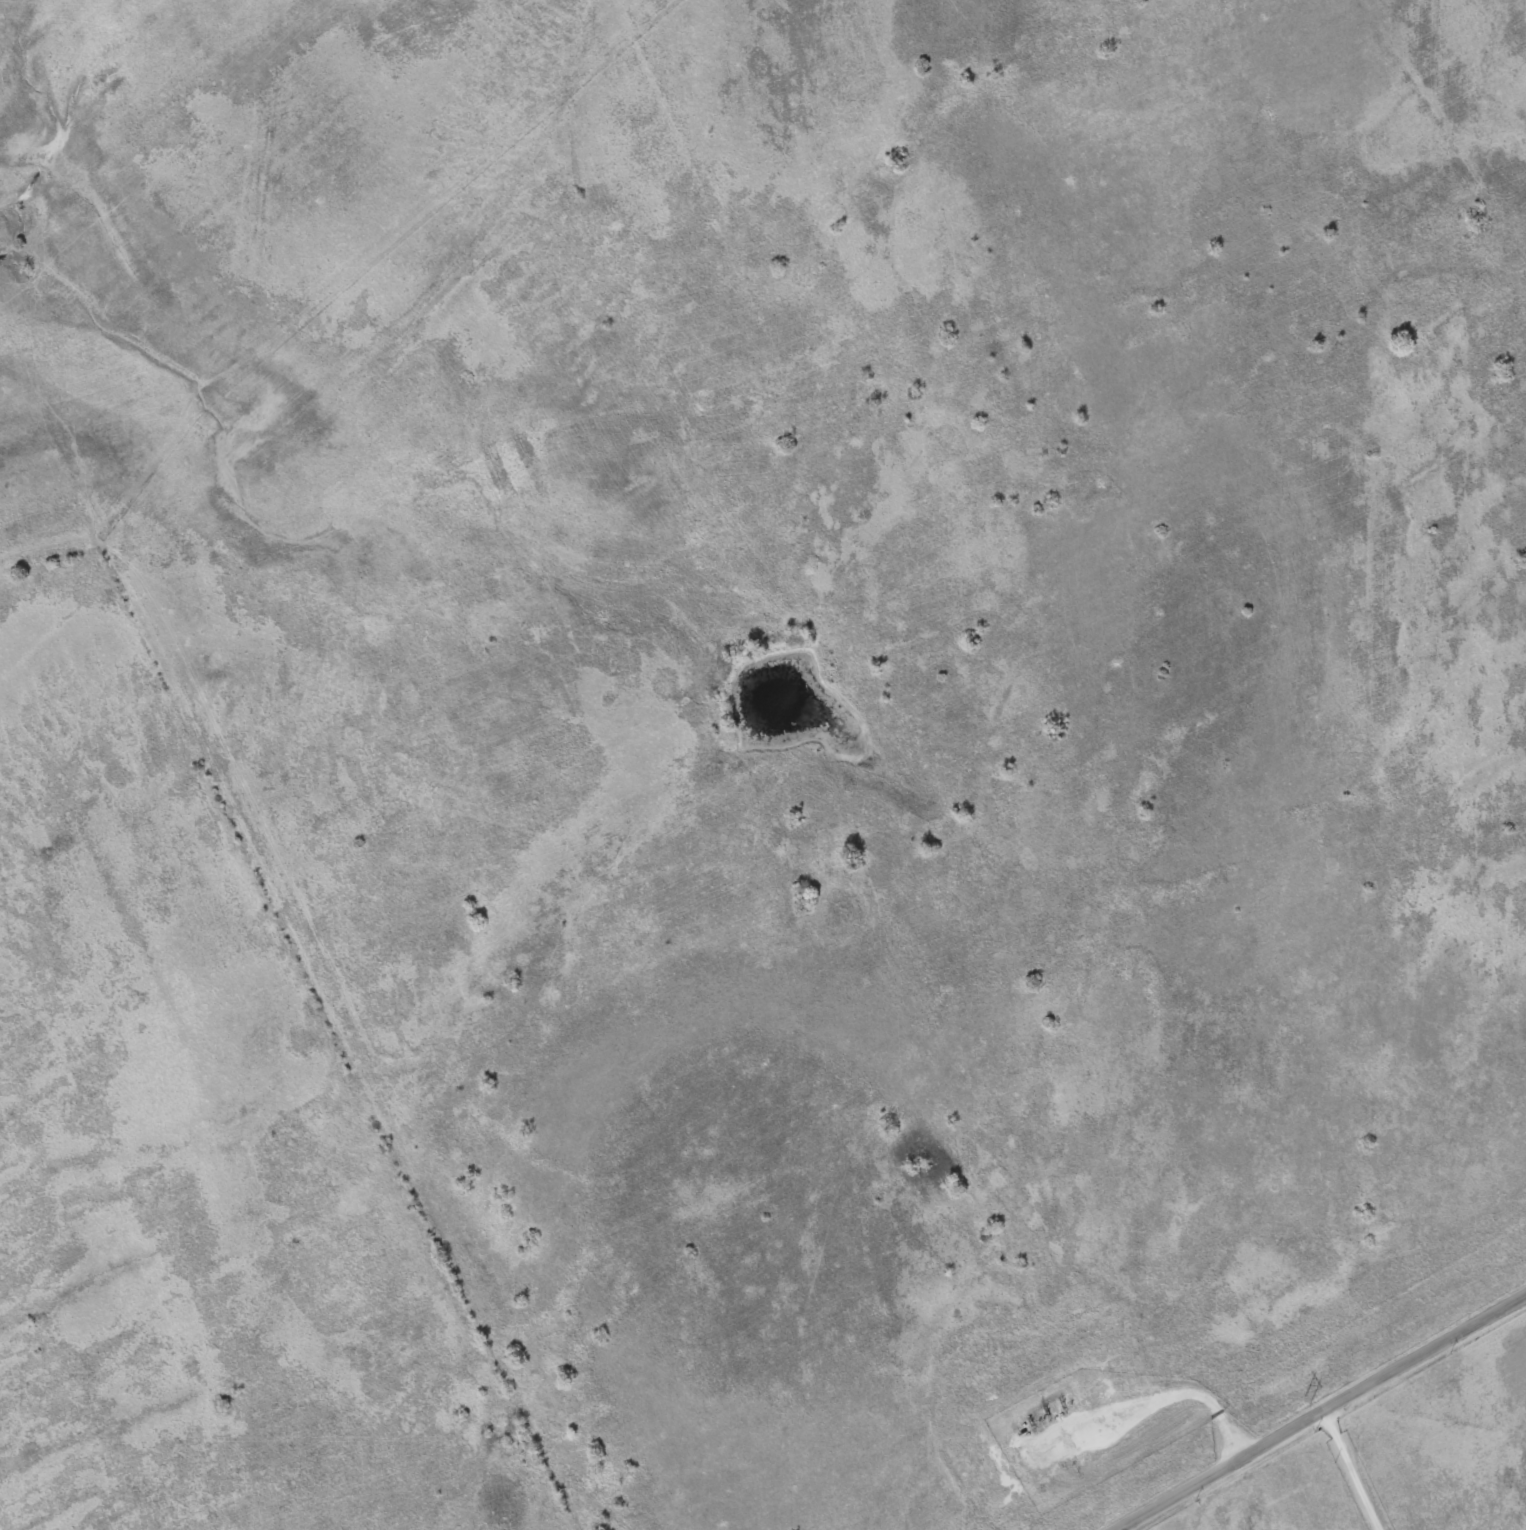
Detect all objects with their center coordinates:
road: (1310, 1405)
road: (1348, 1466)

